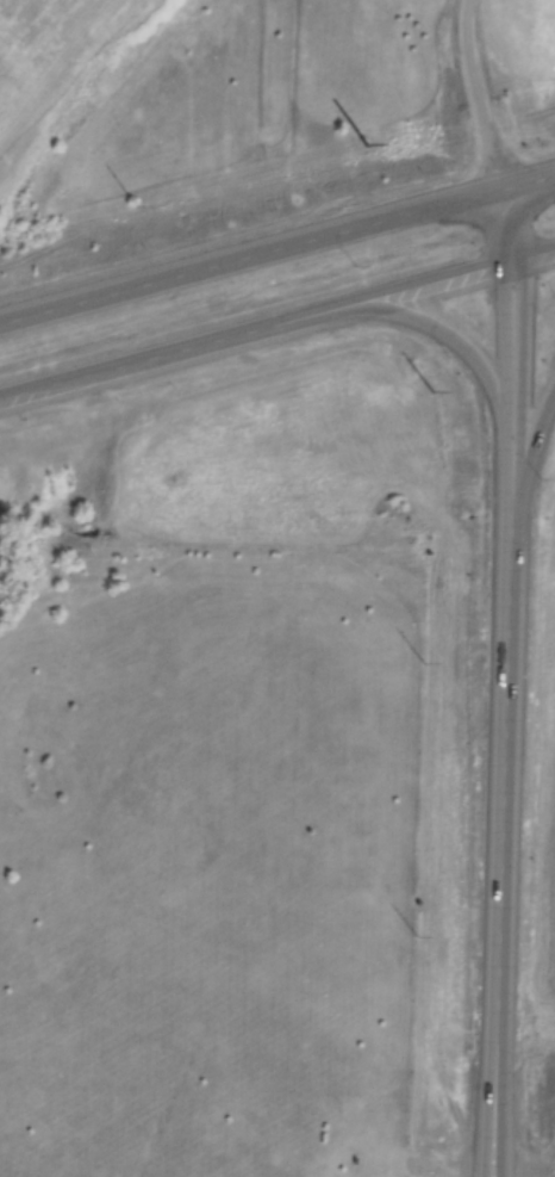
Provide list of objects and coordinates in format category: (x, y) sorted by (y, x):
road: (528, 205)
road: (276, 248)
road: (277, 322)
road: (511, 339)
road: (476, 365)
road: (532, 439)
road: (505, 704)
road: (491, 1046)
road: (501, 1046)

